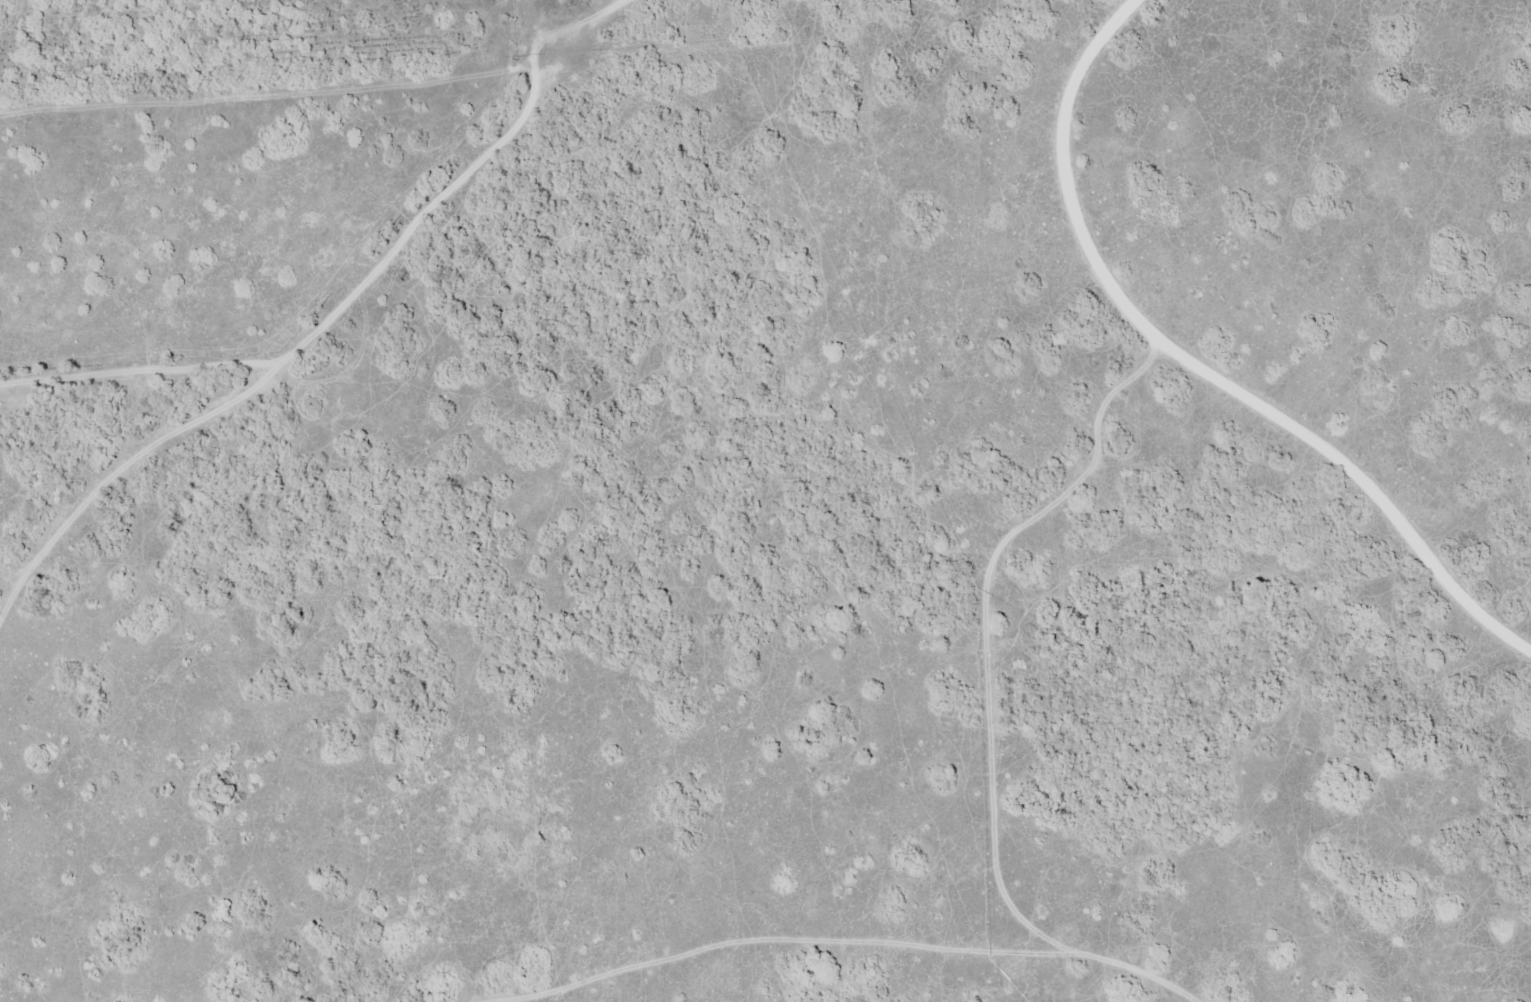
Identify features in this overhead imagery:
road: (1131, 22)
road: (1228, 349)
road: (375, 355)
road: (849, 950)

